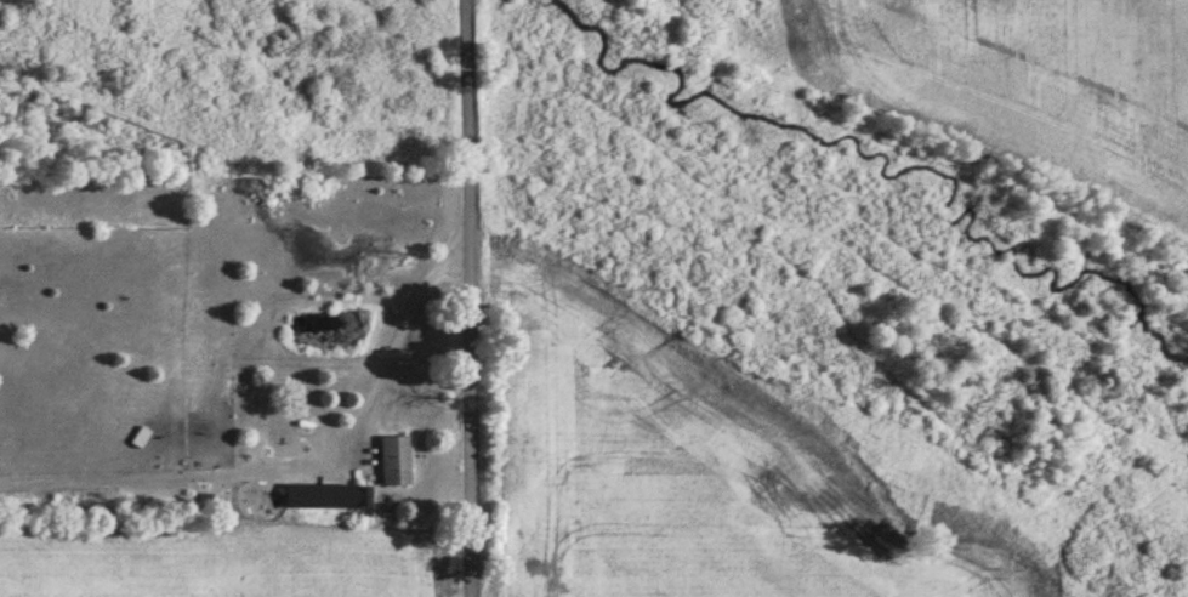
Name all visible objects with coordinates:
road: (481, 298)
building: (396, 461)
building: (329, 496)

